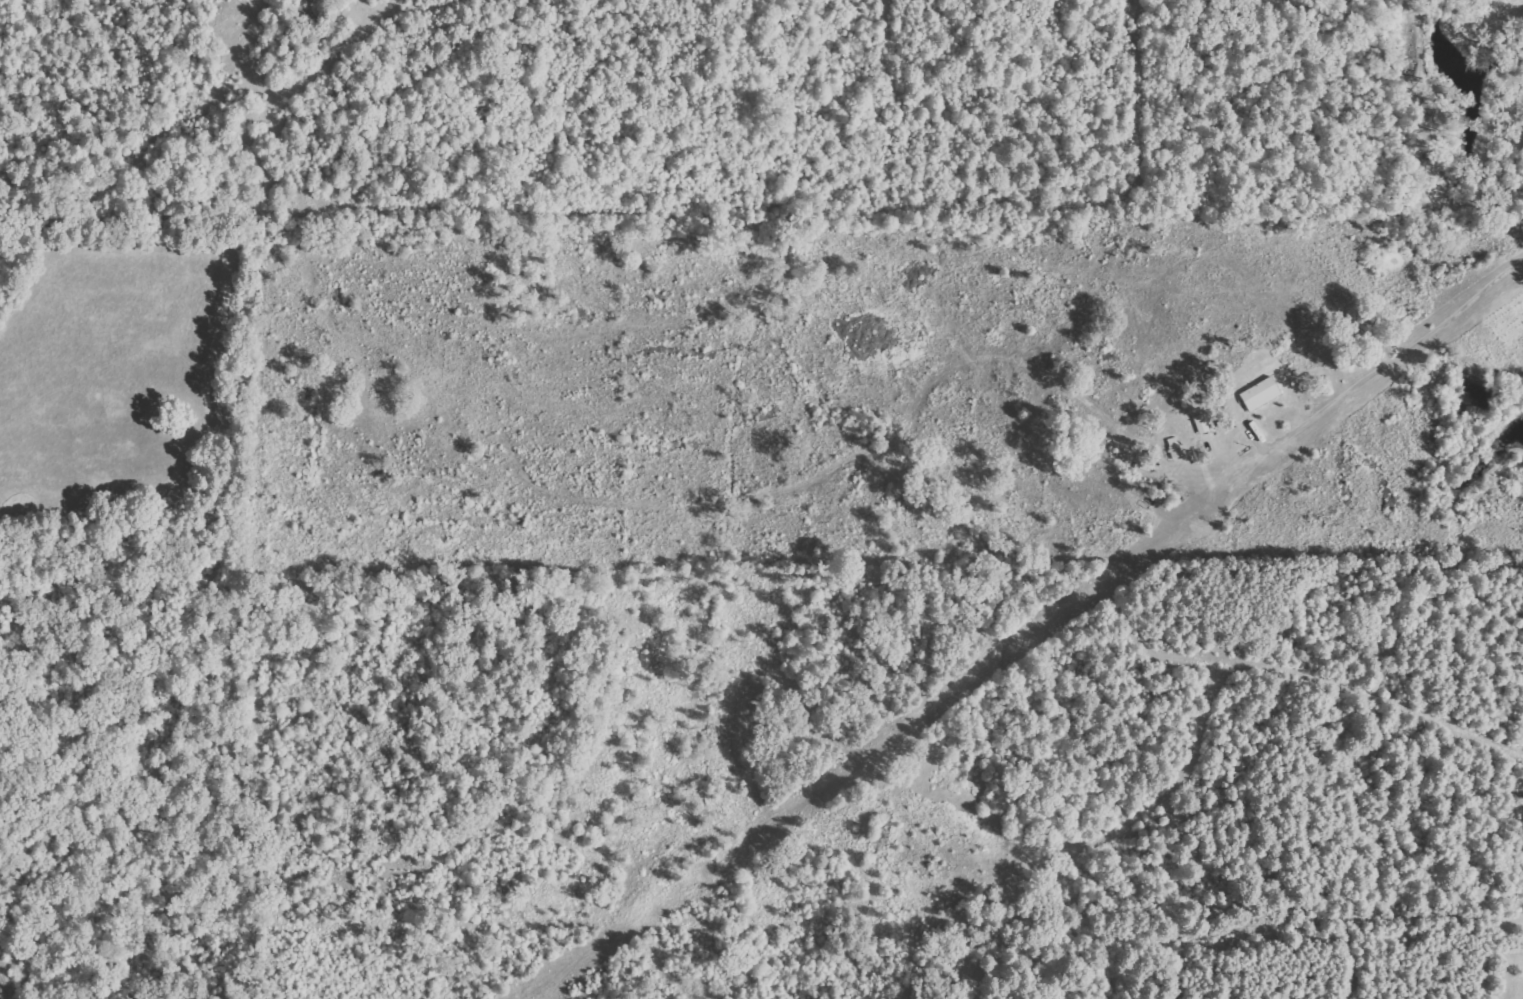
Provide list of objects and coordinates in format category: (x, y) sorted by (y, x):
building: (1262, 394)

